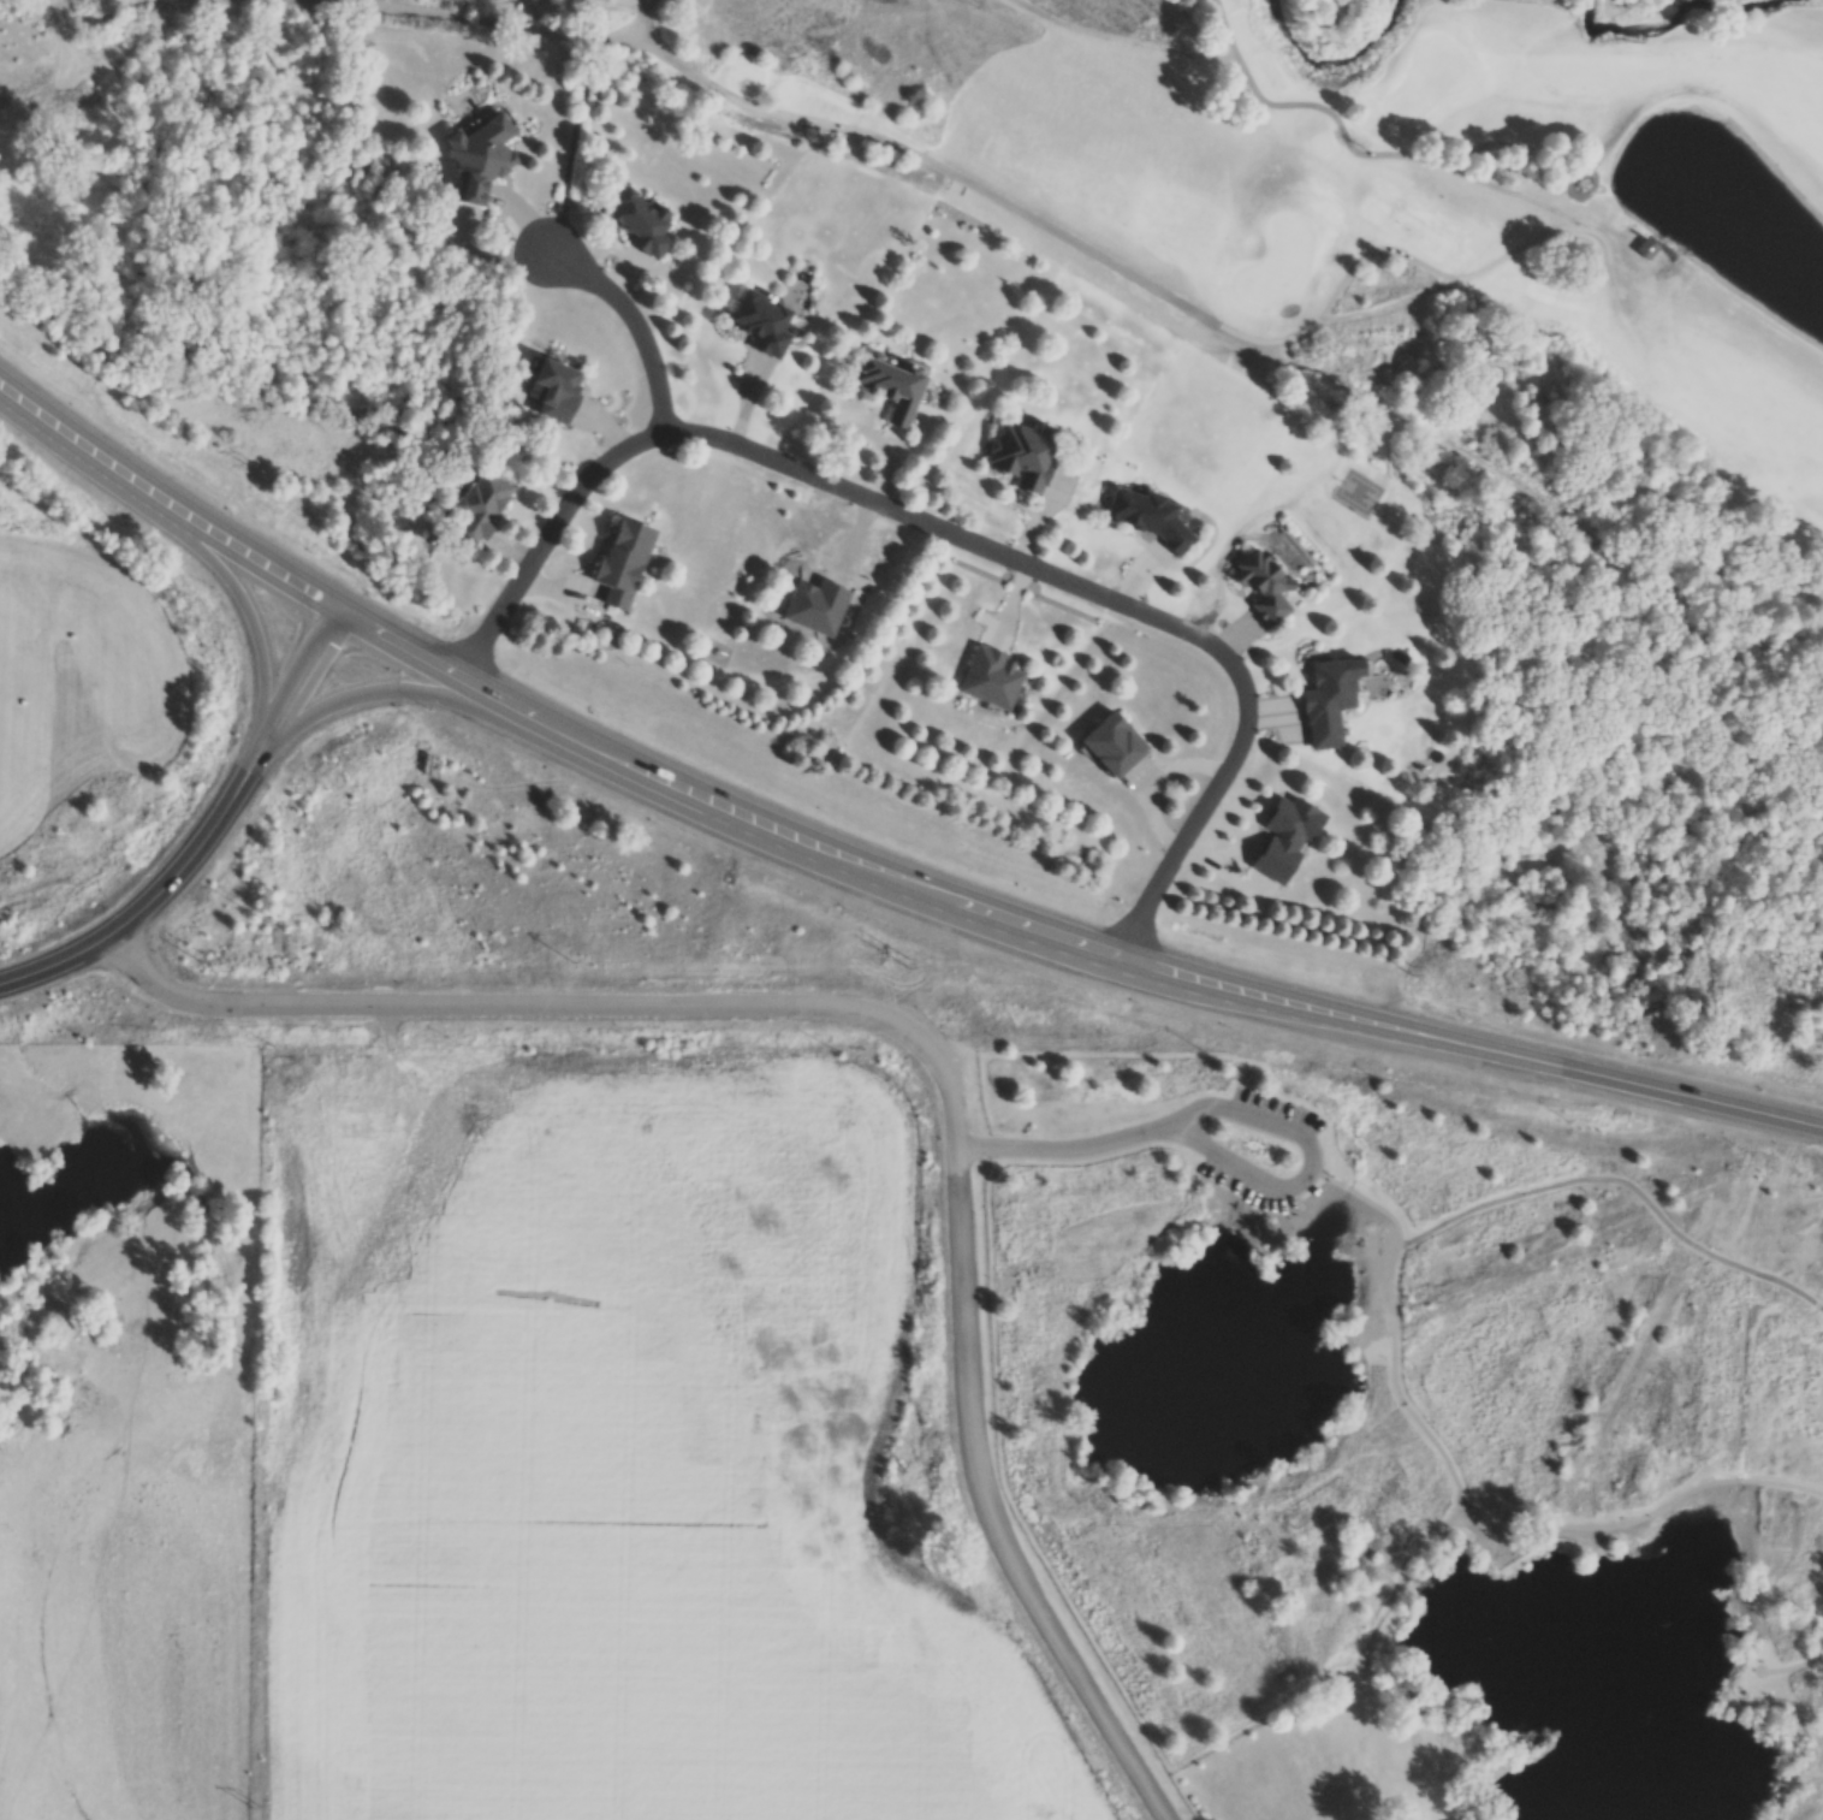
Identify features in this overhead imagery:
power tower: (287, 54)
park: (1429, 89)
building: (1616, 223)
park: (1324, 232)
road: (1110, 265)
park: (1275, 269)
road: (635, 322)
power tower: (279, 484)
road: (955, 536)
building: (616, 565)
building: (1264, 586)
road: (234, 593)
building: (985, 683)
road: (404, 693)
building: (1330, 701)
building: (1106, 749)
road: (206, 836)
road: (865, 866)
power tower: (271, 924)
power tower: (197, 958)
power tower: (903, 964)
power tower: (1407, 971)
power tower: (1803, 979)
road: (564, 1006)
road: (1063, 1151)
parking lot: (1221, 1154)
road: (1310, 1164)
road: (1589, 1180)
road: (1768, 1279)
road: (1794, 1291)
road: (1817, 1305)
power tower: (263, 1367)
park: (1408, 1431)
road: (1461, 1494)
road: (986, 1507)
road: (1792, 1671)
power tower: (259, 1812)

